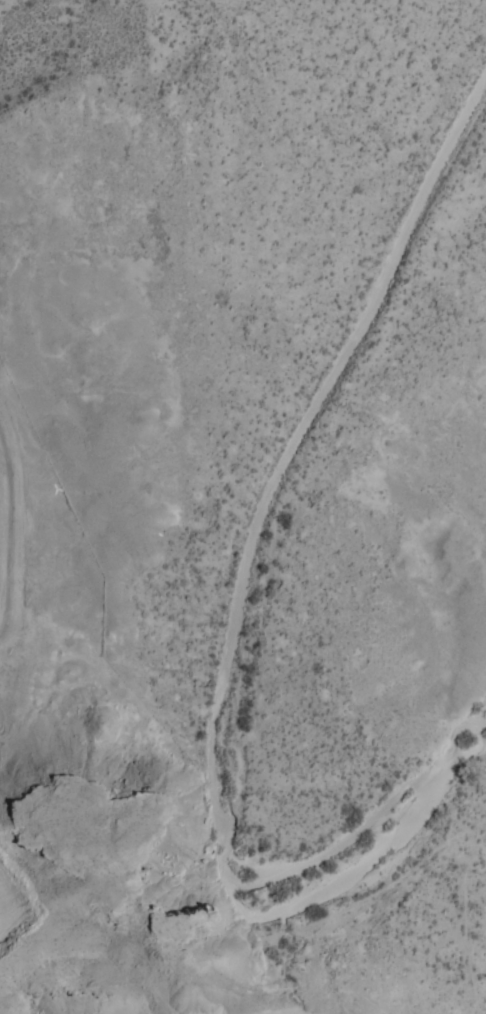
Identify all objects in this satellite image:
quarry: (25, 509)
river: (246, 636)

